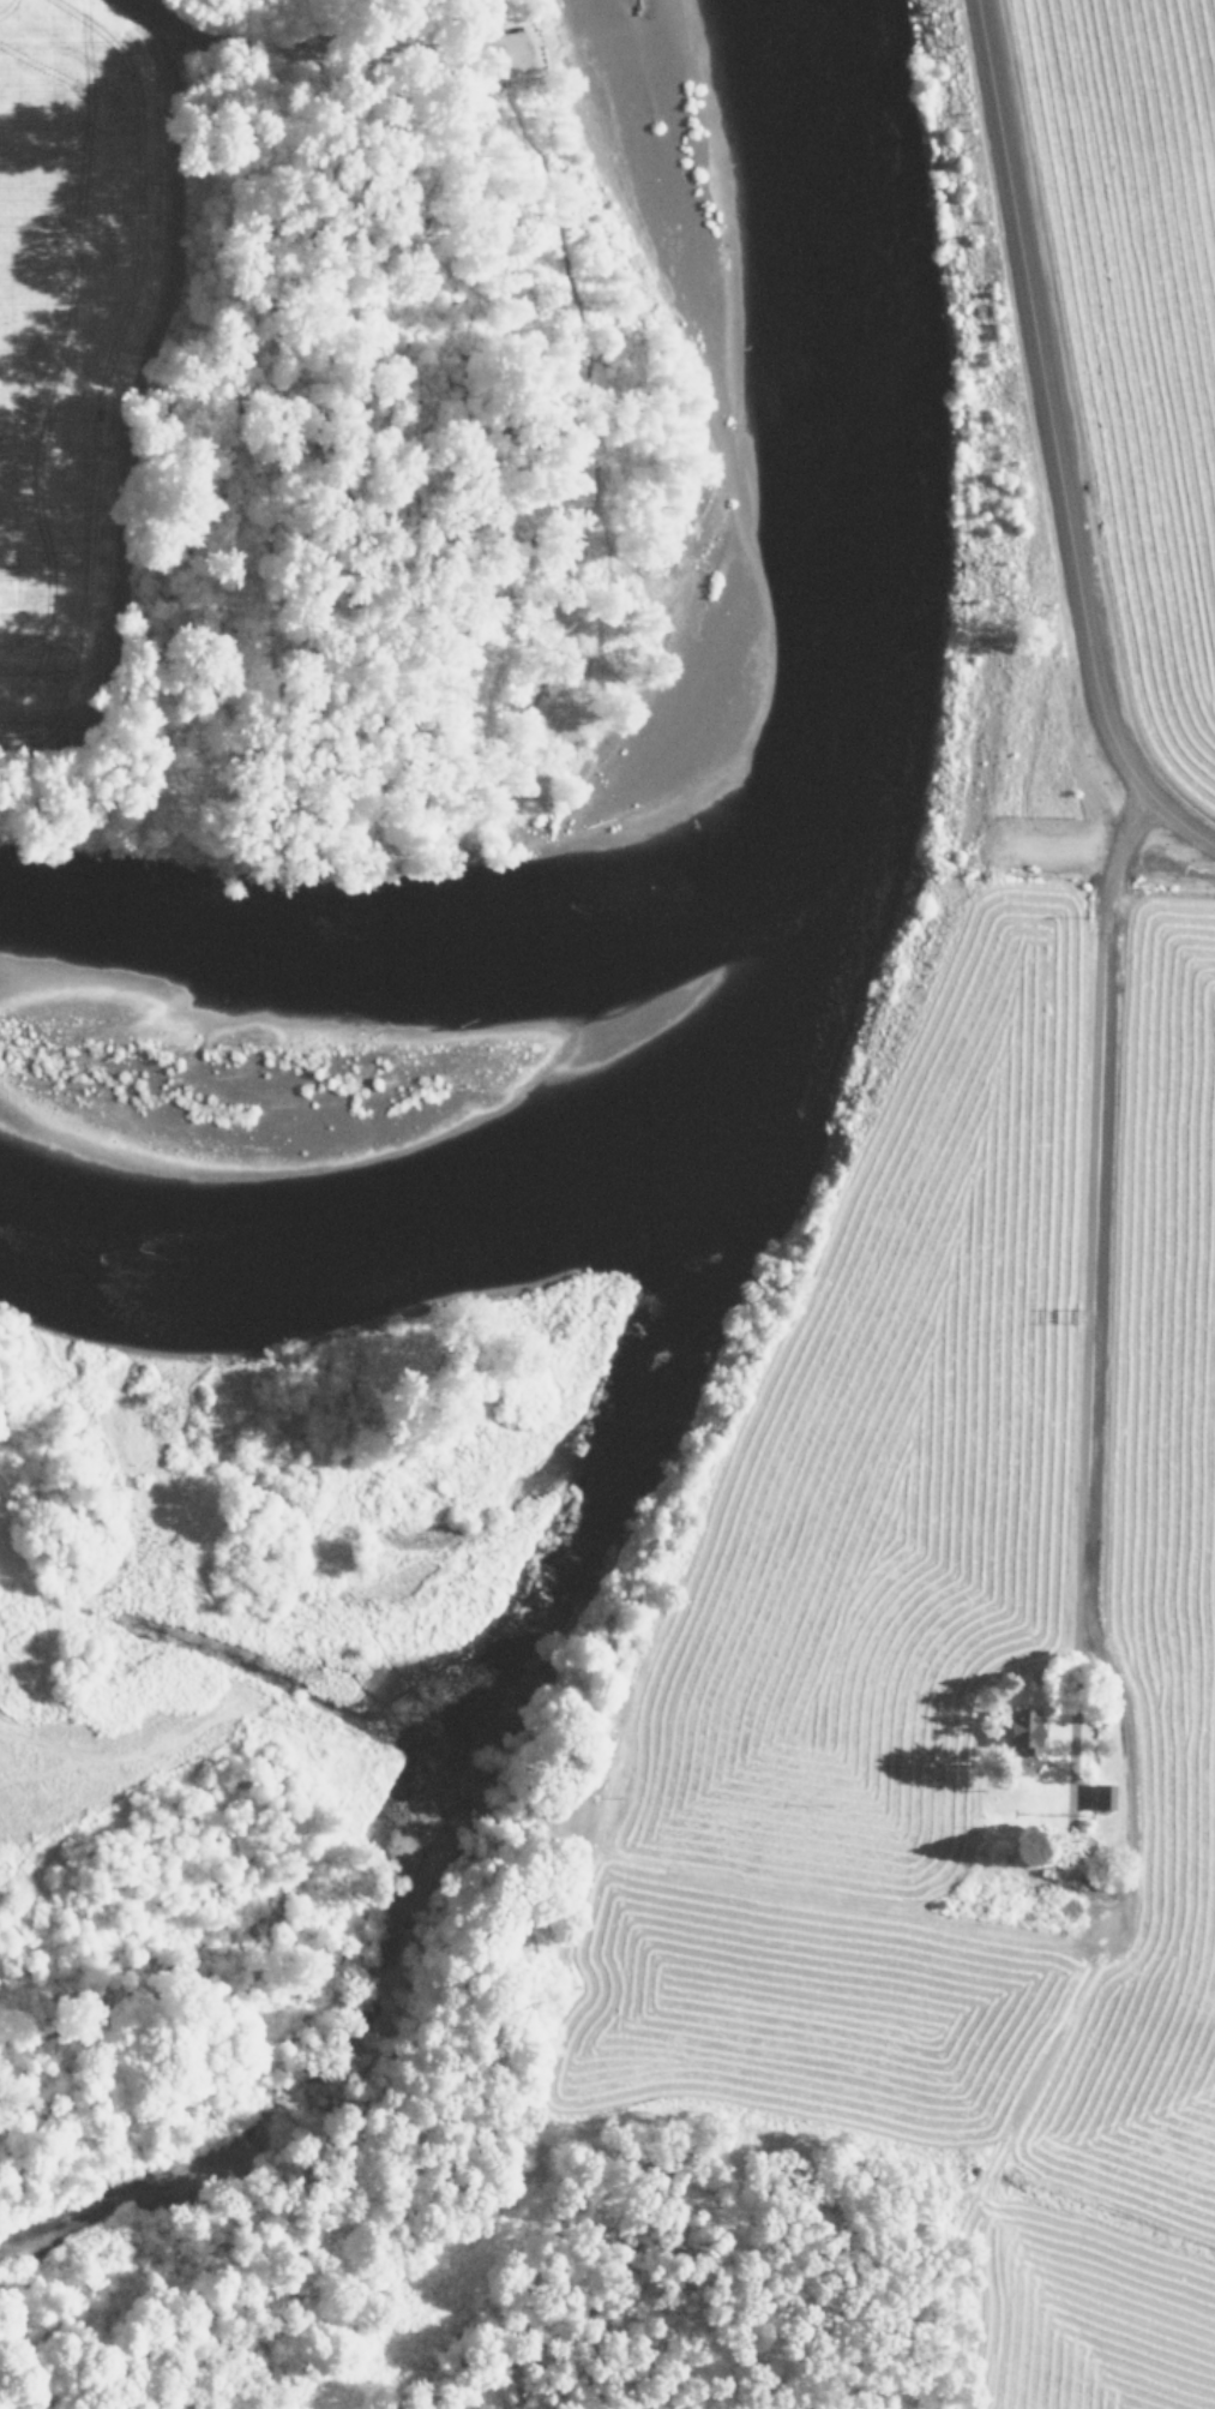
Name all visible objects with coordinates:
road: (354, 44)
crop: (64, 253)
crop: (1132, 317)
road: (913, 528)
river: (759, 888)
road: (1079, 1356)
crop: (958, 1682)
building: (1103, 1796)

